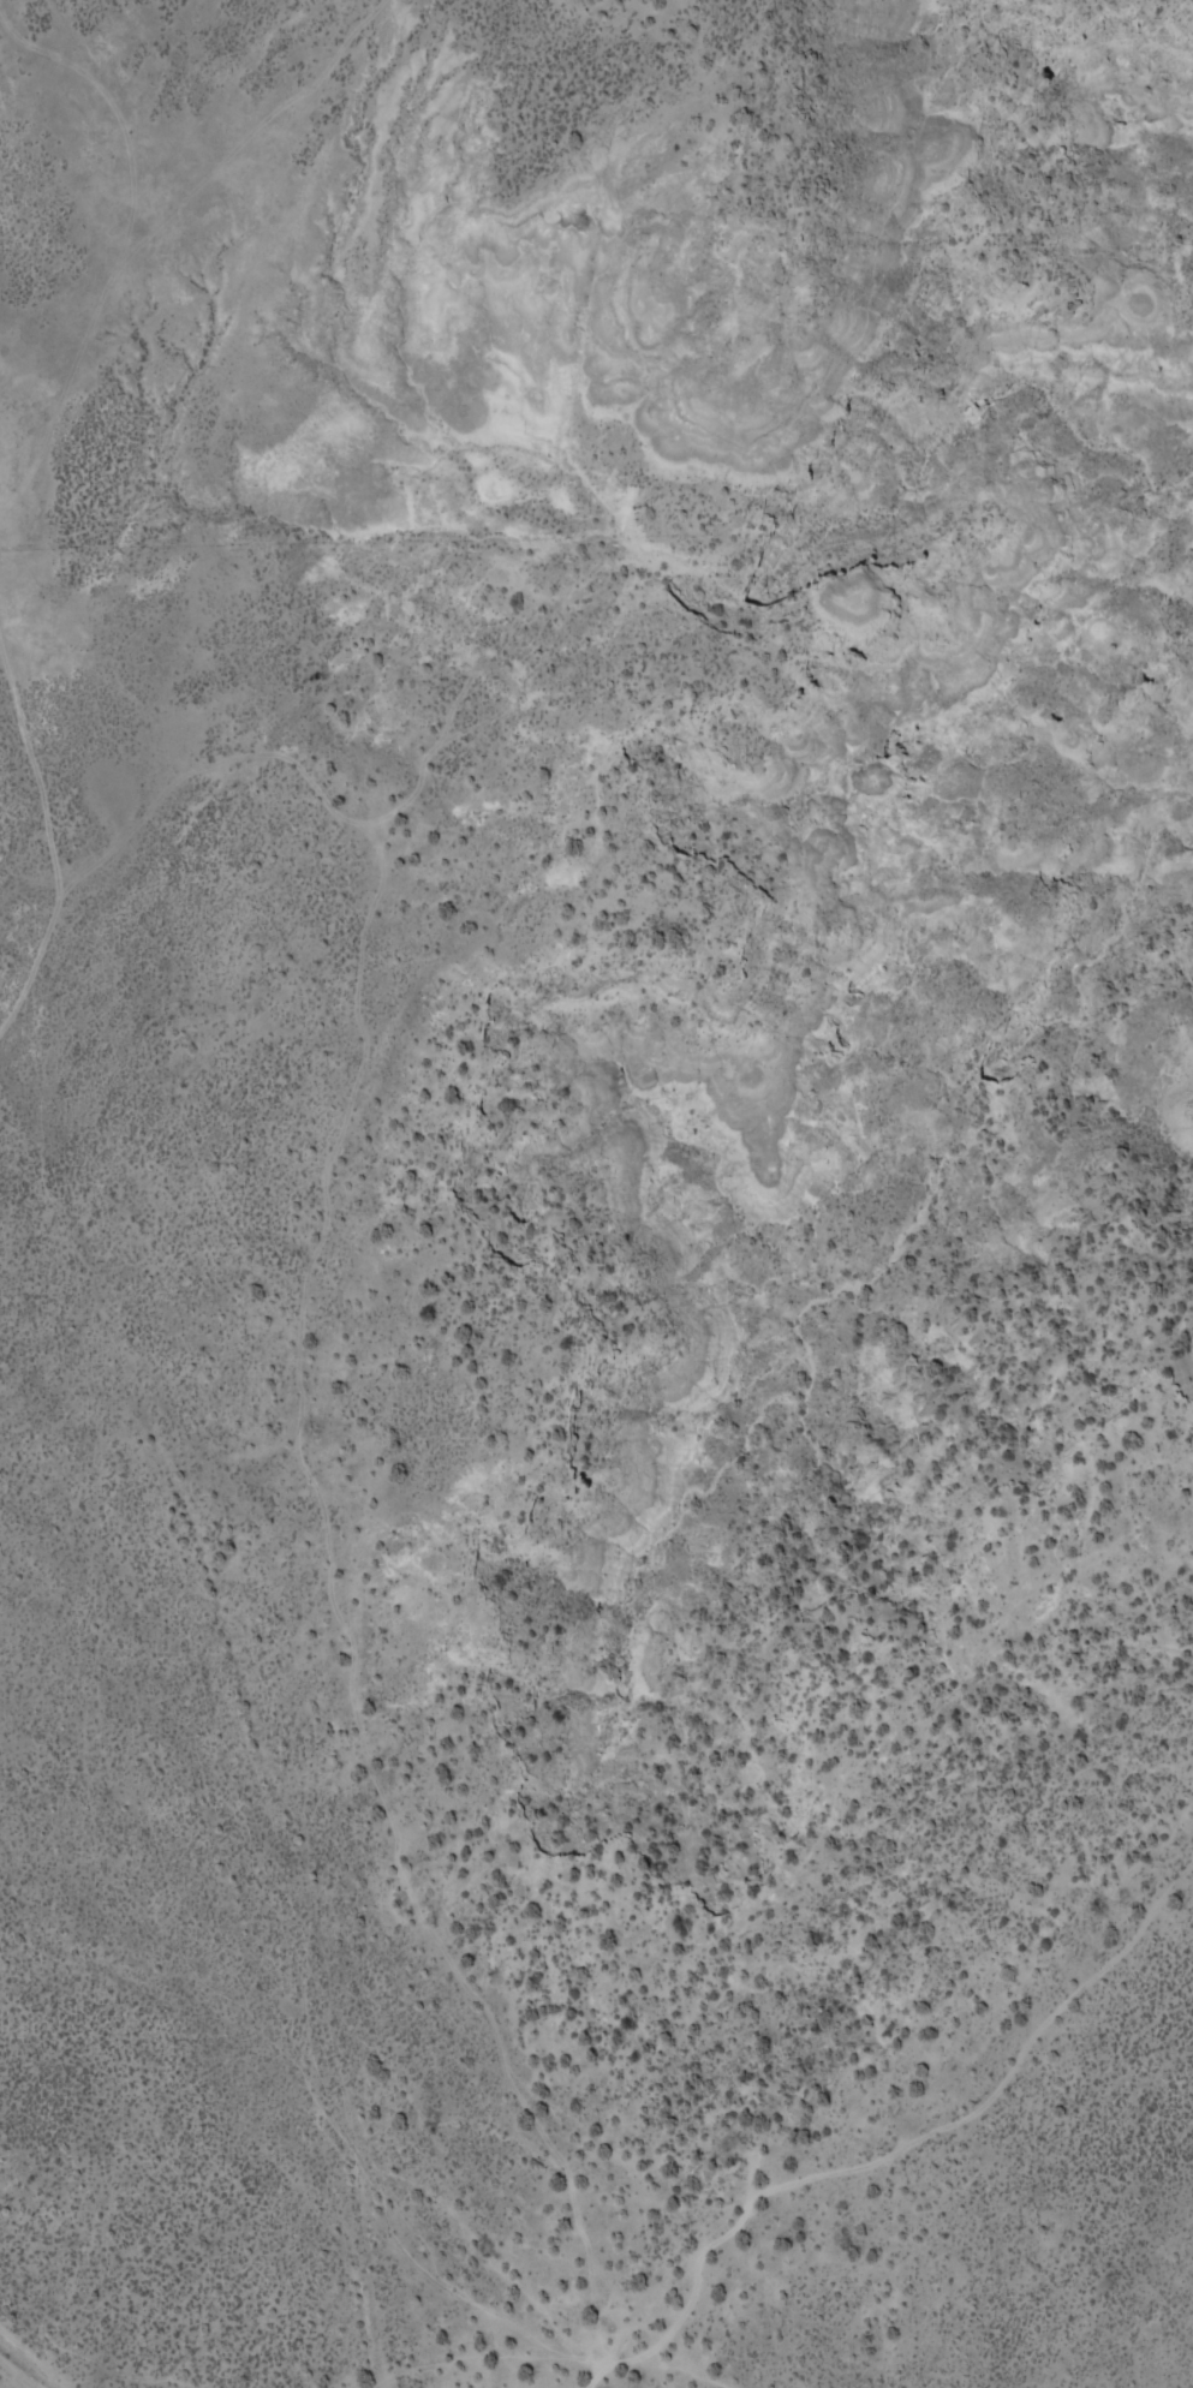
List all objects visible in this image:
road: (901, 2124)
road: (1, 2386)

